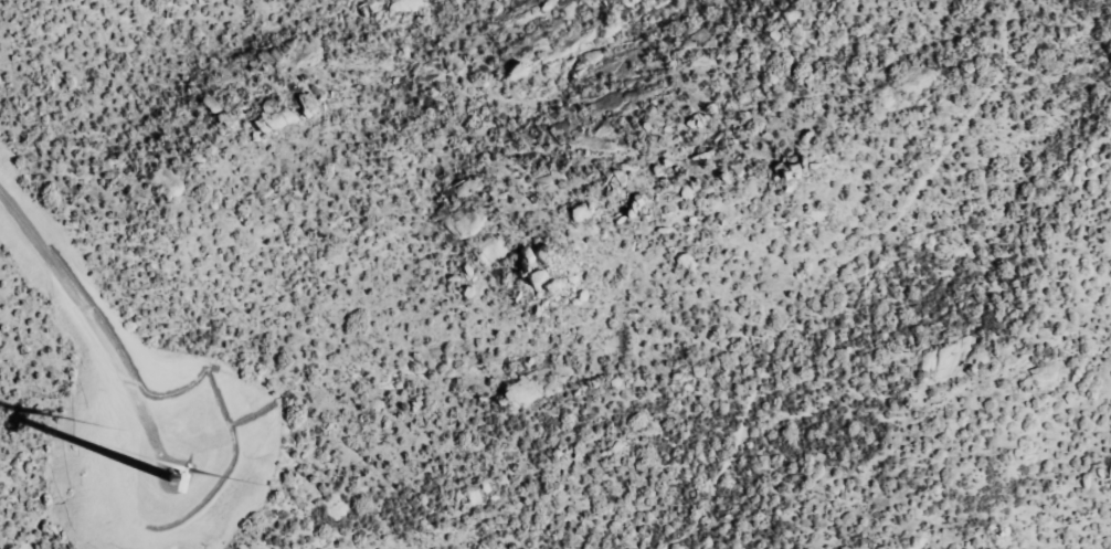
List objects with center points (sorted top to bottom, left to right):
building: (594, 57)
building: (520, 73)
building: (311, 104)
building: (469, 223)
road: (93, 318)
building: (526, 394)
wind turbine: (177, 481)

